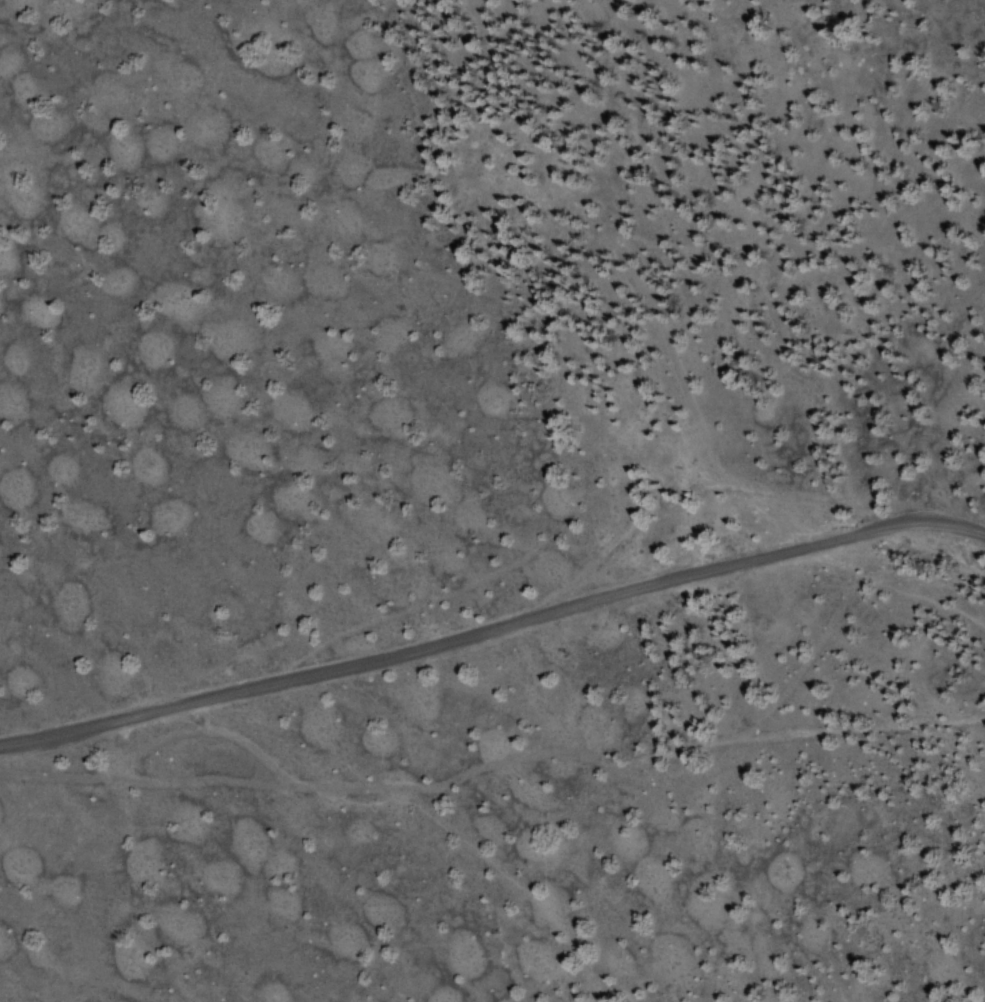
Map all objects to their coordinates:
road: (491, 633)

